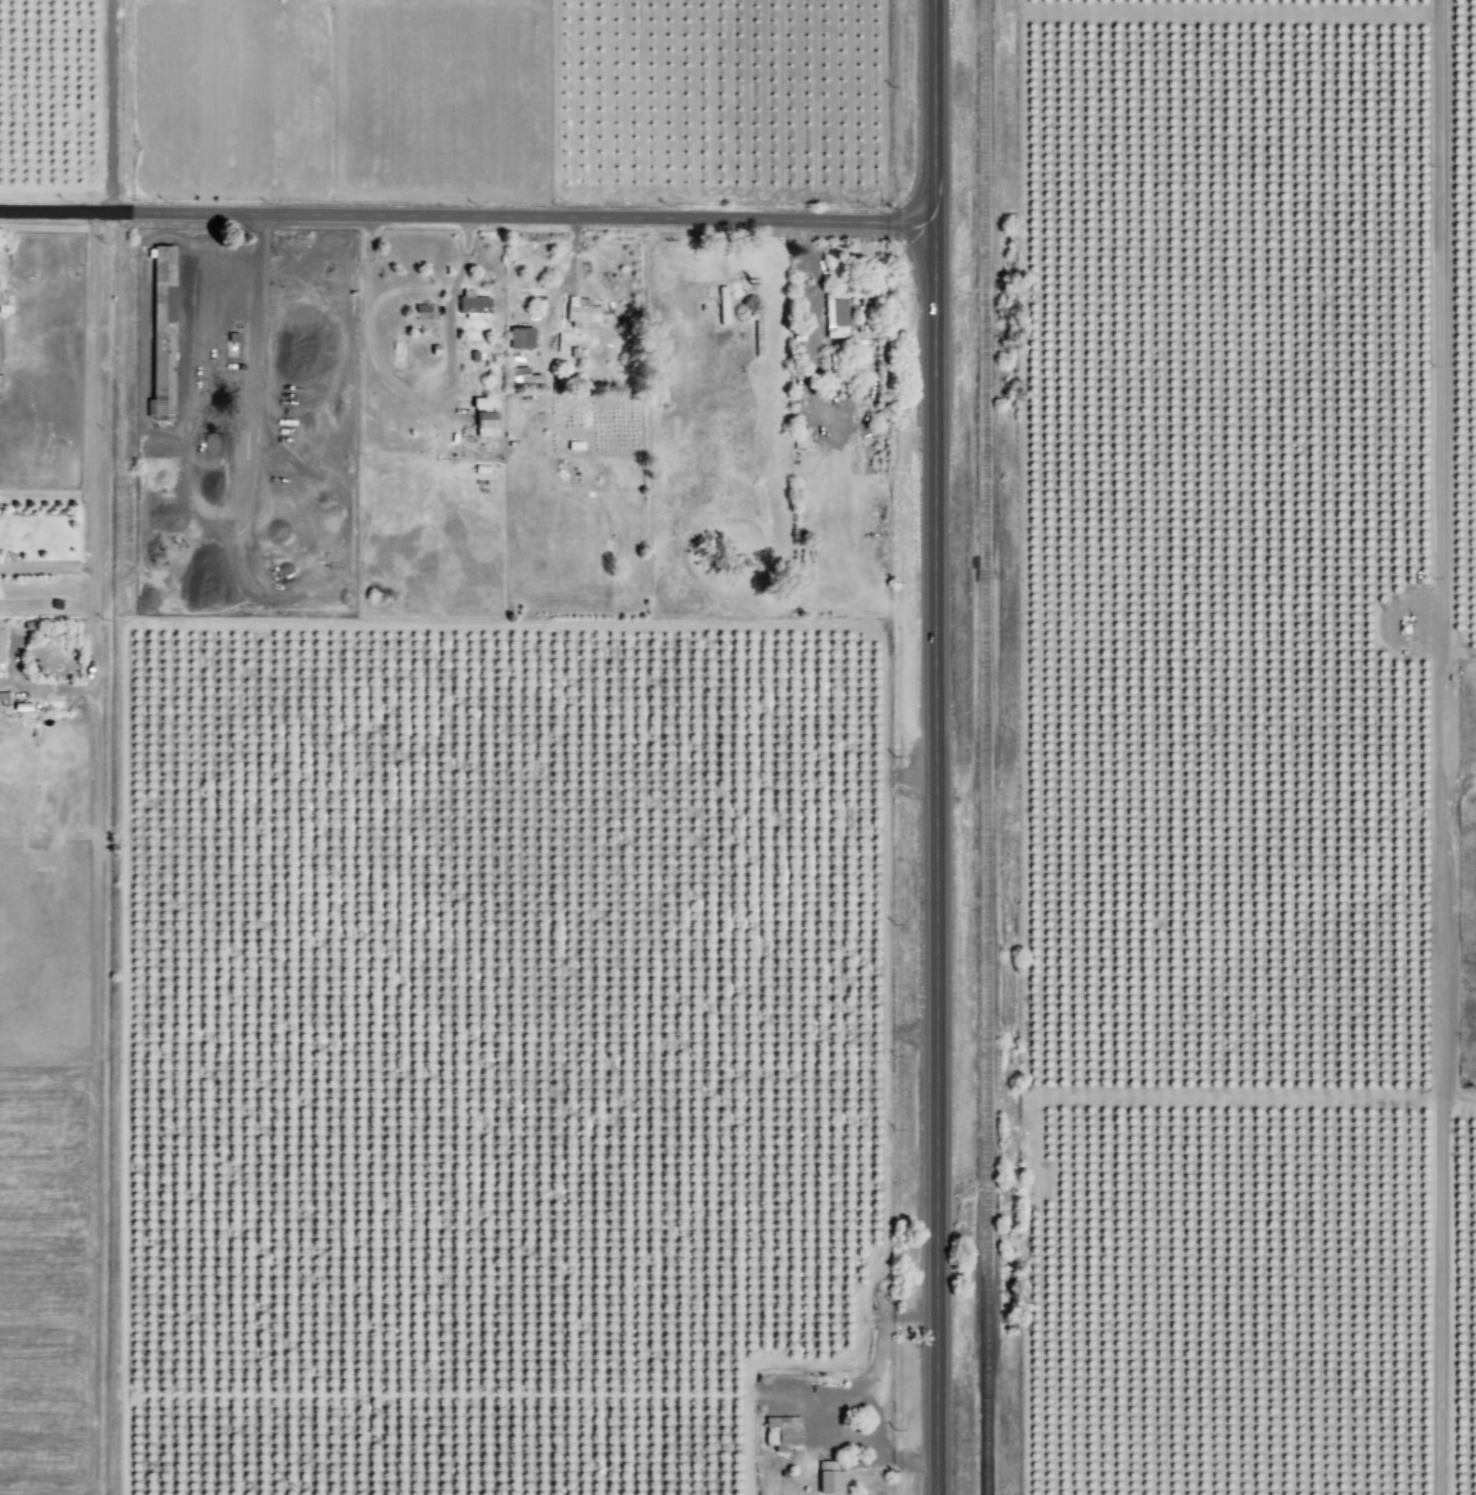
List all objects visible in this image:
road: (108, 105)
road: (466, 216)
building: (719, 294)
building: (469, 305)
building: (422, 312)
building: (579, 314)
building: (832, 316)
building: (158, 335)
building: (518, 338)
building: (520, 377)
building: (480, 404)
building: (482, 424)
road: (90, 489)
road: (46, 569)
building: (2, 696)
road: (932, 747)
railway: (983, 747)
building: (779, 1432)
building: (826, 1478)

